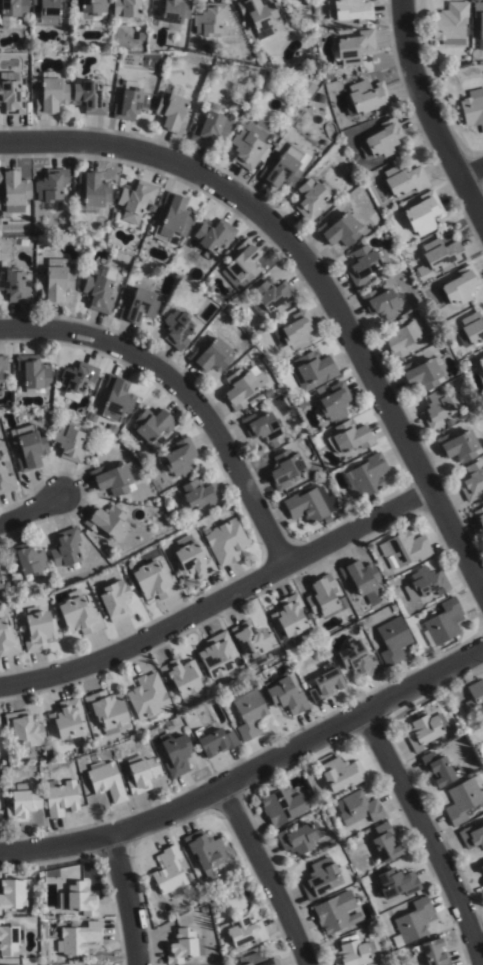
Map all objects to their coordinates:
building: (88, 10)
building: (349, 11)
building: (11, 12)
building: (127, 12)
building: (45, 13)
building: (174, 14)
building: (259, 15)
building: (210, 22)
building: (449, 24)
building: (478, 24)
building: (352, 49)
building: (290, 86)
building: (50, 95)
building: (10, 96)
building: (88, 99)
building: (365, 99)
building: (130, 103)
building: (470, 110)
building: (172, 111)
road: (431, 115)
building: (211, 127)
building: (381, 141)
building: (248, 144)
building: (284, 165)
road: (470, 171)
building: (404, 177)
building: (51, 186)
building: (14, 188)
building: (93, 189)
building: (309, 196)
building: (135, 199)
building: (423, 213)
building: (173, 215)
building: (338, 227)
building: (213, 232)
building: (440, 253)
building: (240, 262)
building: (363, 262)
road: (316, 274)
building: (56, 281)
building: (13, 283)
building: (458, 284)
building: (99, 287)
building: (271, 294)
building: (383, 300)
building: (457, 304)
building: (139, 305)
building: (175, 327)
building: (470, 328)
building: (292, 332)
building: (400, 334)
building: (211, 355)
building: (3, 363)
building: (479, 366)
building: (312, 369)
building: (420, 372)
building: (34, 373)
building: (76, 379)
building: (0, 381)
building: (241, 384)
building: (317, 389)
road: (183, 390)
building: (117, 398)
building: (333, 402)
building: (437, 407)
building: (448, 421)
building: (154, 425)
building: (262, 426)
building: (349, 436)
building: (69, 442)
building: (29, 444)
building: (458, 444)
building: (177, 457)
building: (284, 467)
building: (367, 473)
building: (113, 477)
building: (5, 479)
building: (472, 480)
building: (198, 494)
building: (310, 505)
road: (31, 510)
building: (479, 516)
building: (106, 520)
building: (225, 540)
building: (65, 547)
building: (404, 548)
building: (27, 558)
building: (191, 558)
building: (0, 561)
building: (154, 580)
building: (363, 580)
building: (425, 583)
building: (0, 585)
building: (323, 597)
building: (115, 599)
road: (217, 599)
building: (78, 613)
building: (290, 618)
building: (442, 621)
building: (38, 629)
building: (7, 639)
building: (393, 640)
building: (252, 641)
building: (219, 657)
building: (357, 658)
building: (182, 678)
building: (323, 684)
building: (284, 695)
building: (474, 696)
building: (148, 697)
building: (106, 710)
building: (249, 712)
building: (66, 719)
building: (23, 730)
building: (421, 731)
building: (215, 741)
building: (176, 753)
building: (436, 769)
road: (248, 771)
building: (140, 773)
building: (340, 773)
building: (105, 780)
building: (60, 797)
building: (462, 798)
building: (23, 802)
building: (282, 805)
building: (357, 808)
building: (0, 818)
road: (428, 835)
building: (471, 836)
building: (298, 838)
building: (383, 845)
building: (205, 853)
building: (481, 870)
road: (265, 874)
building: (169, 875)
building: (323, 879)
building: (396, 884)
building: (15, 893)
road: (126, 899)
building: (78, 900)
building: (336, 913)
building: (412, 922)
building: (240, 932)
building: (77, 939)
building: (10, 940)
building: (182, 947)
building: (434, 953)
building: (356, 954)
building: (255, 960)
building: (17, 964)

